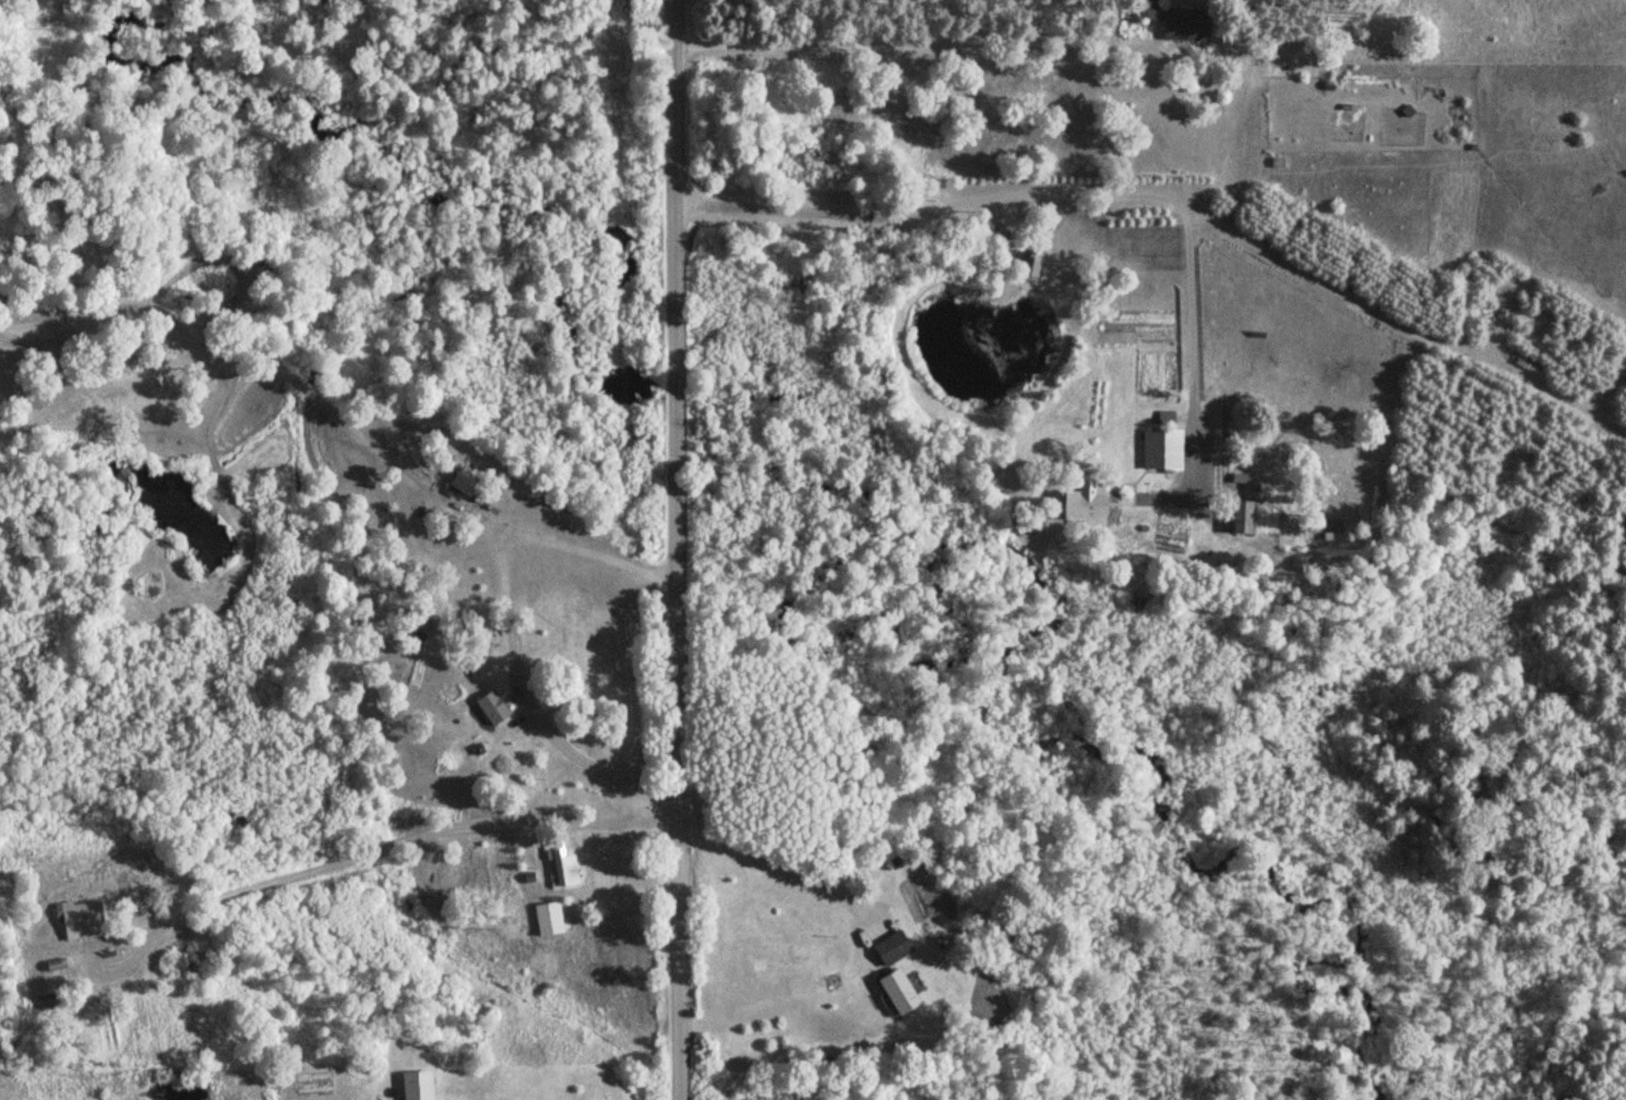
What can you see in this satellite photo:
building: (1183, 24)
road: (878, 46)
road: (930, 206)
building: (1030, 264)
road: (1404, 325)
road: (1194, 344)
building: (1157, 457)
building: (464, 482)
road: (1149, 495)
building: (1078, 505)
road: (1200, 506)
building: (1236, 517)
road: (681, 549)
building: (490, 706)
building: (563, 865)
building: (546, 920)
building: (80, 921)
building: (888, 948)
building: (894, 991)
building: (423, 1099)

